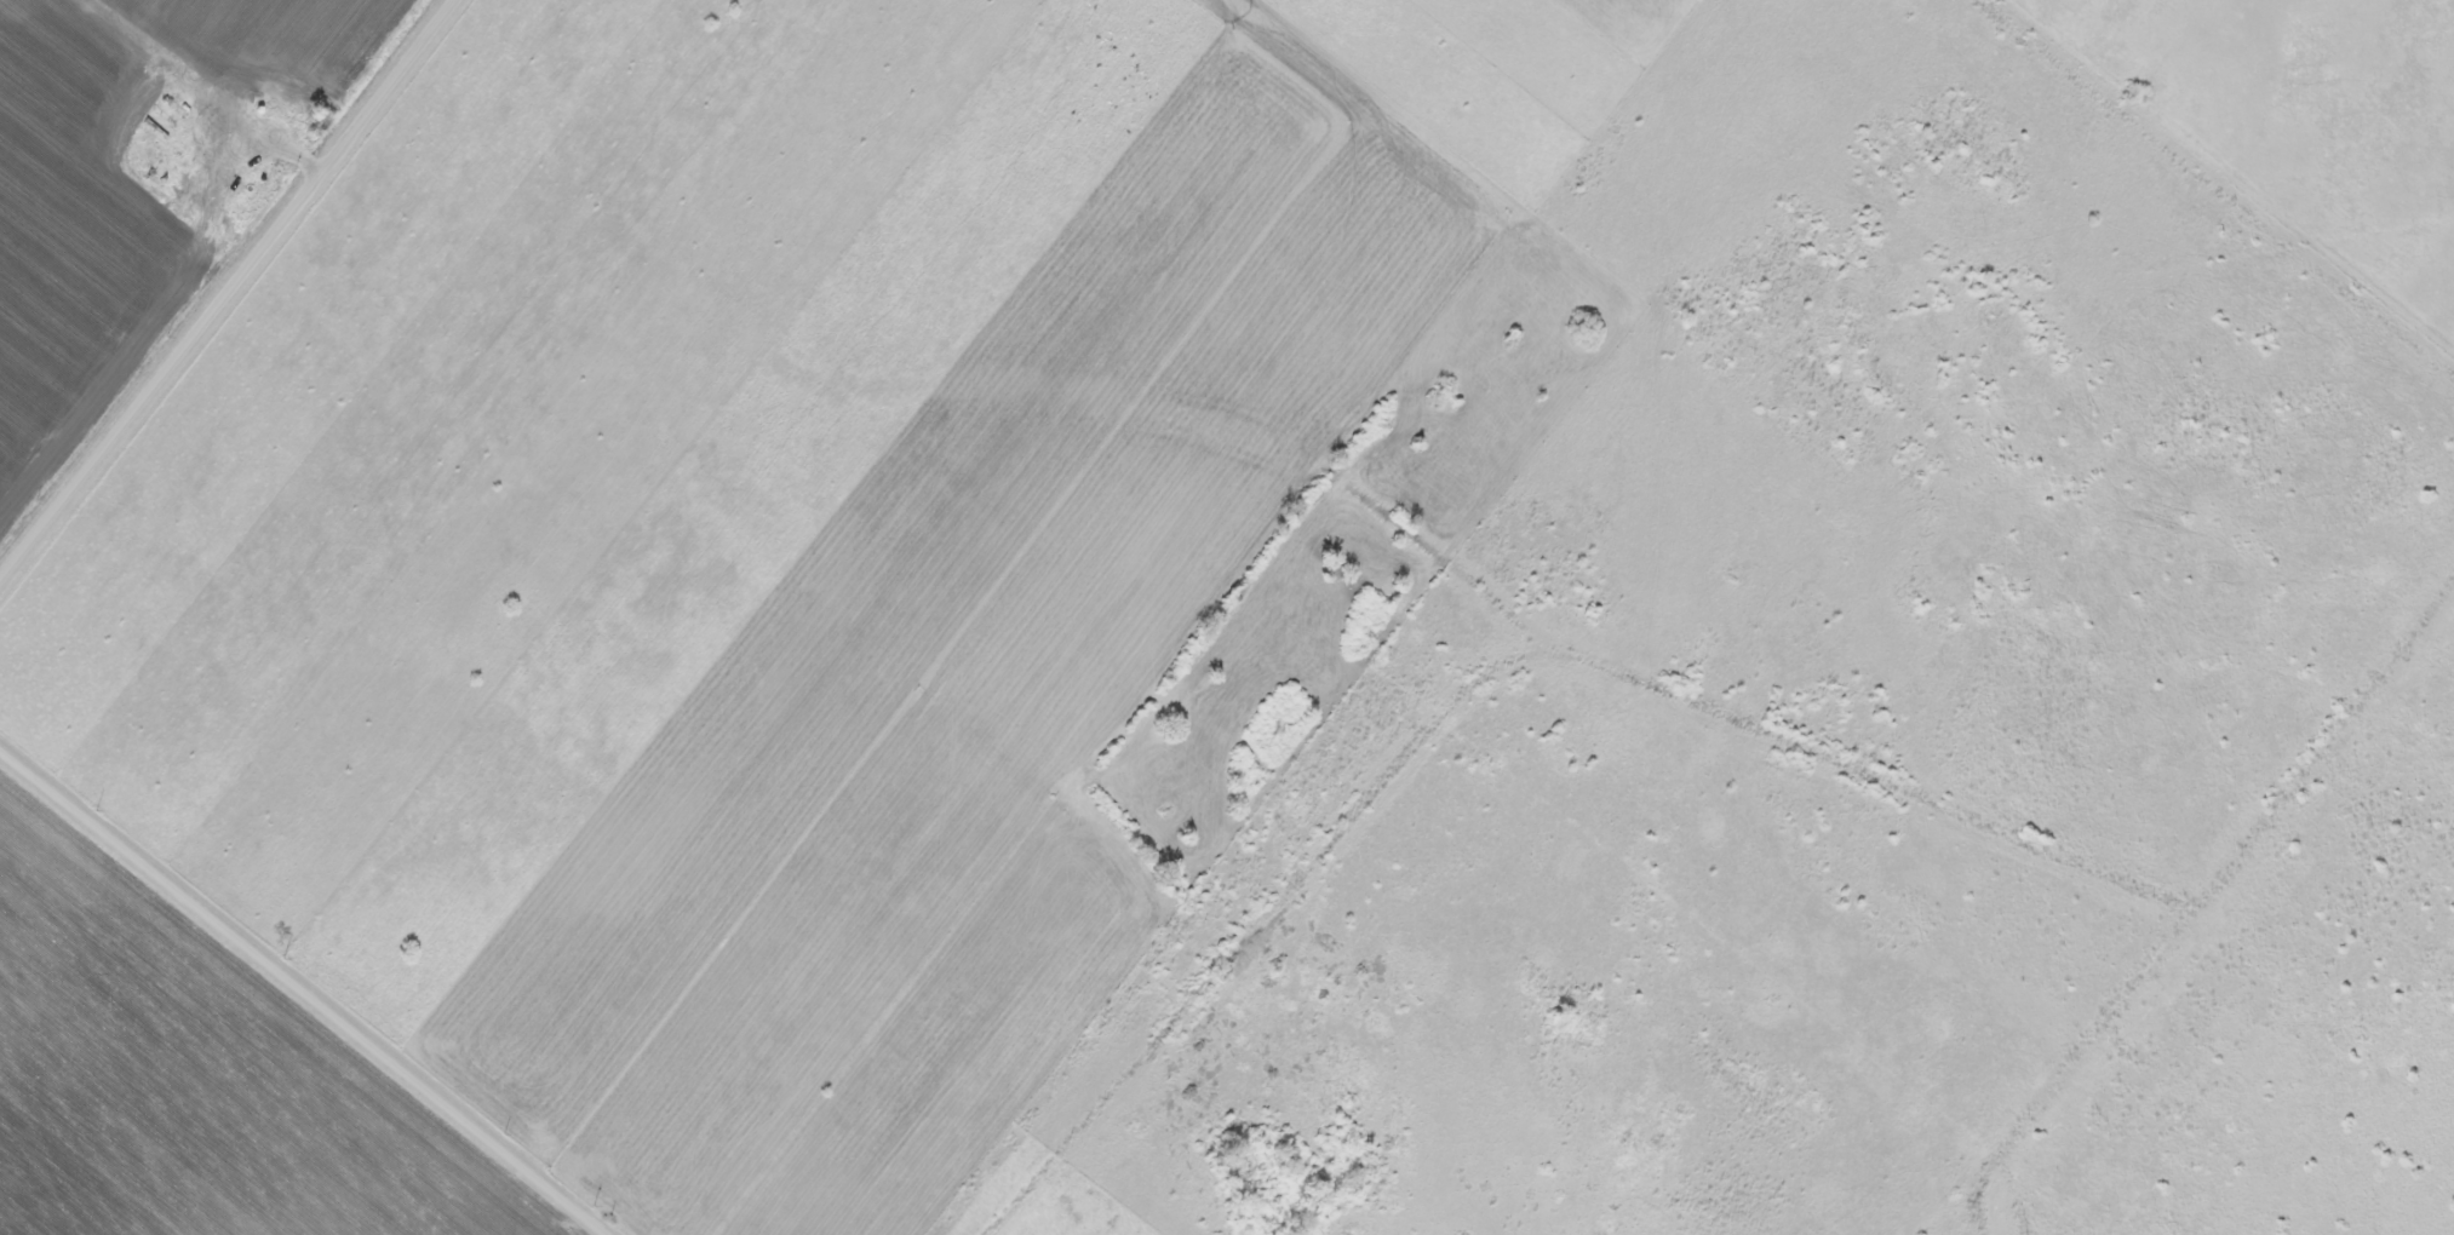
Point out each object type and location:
road: (227, 289)
road: (305, 989)

